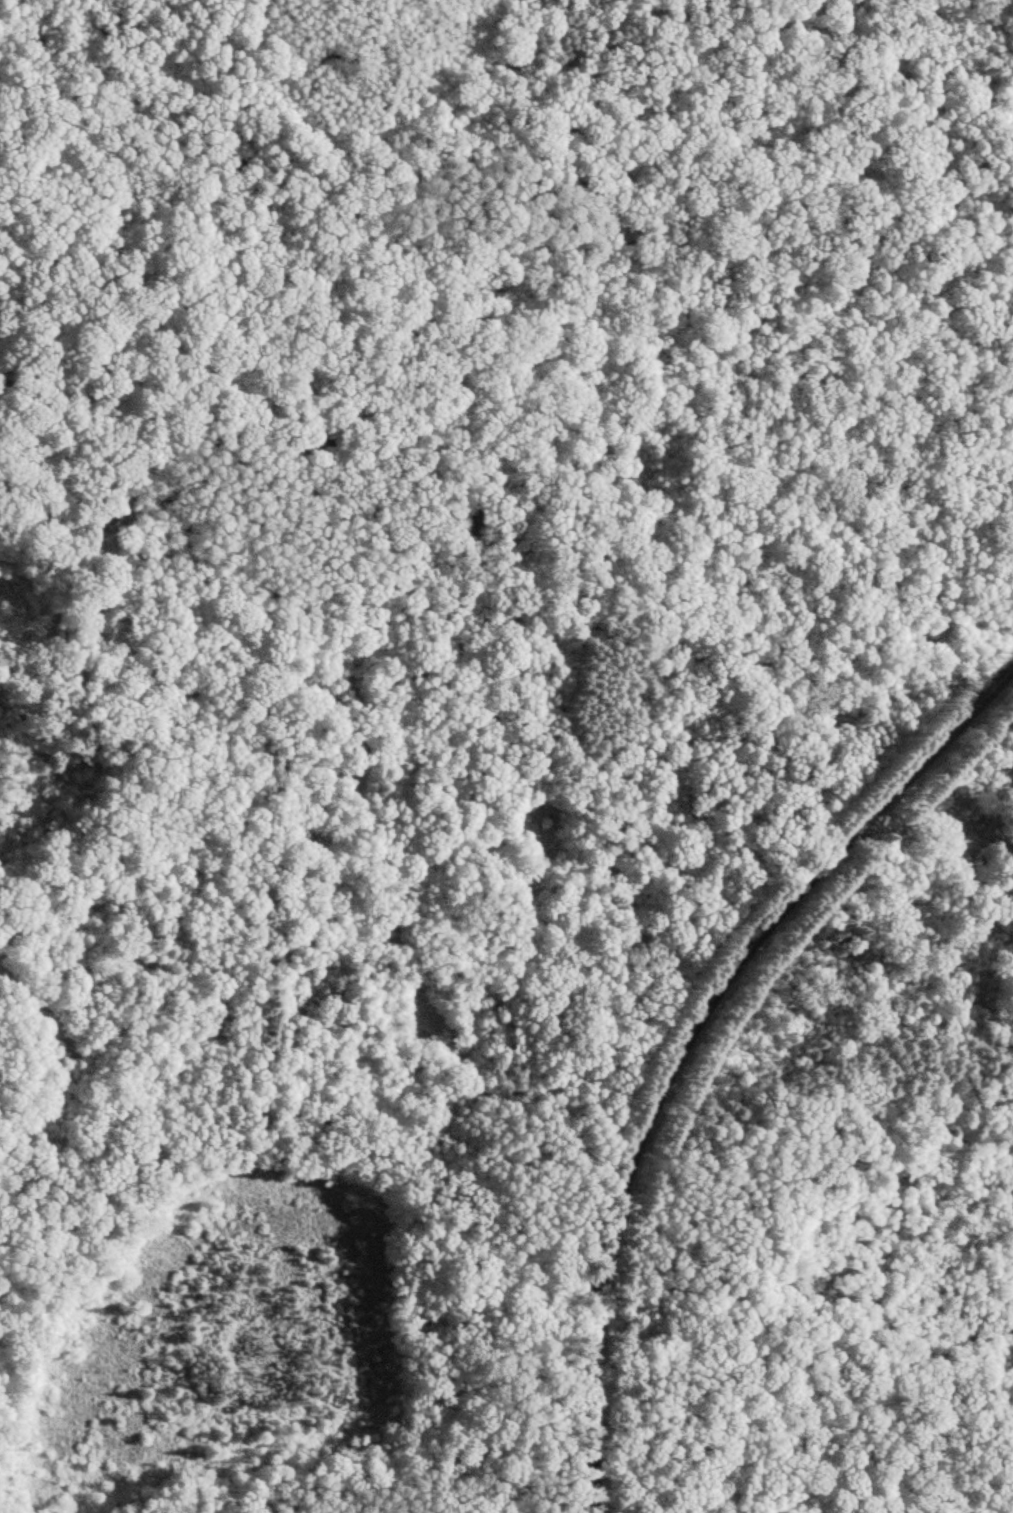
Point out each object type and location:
road: (133, 685)
road: (940, 835)
road: (686, 1033)
road: (15, 1141)

